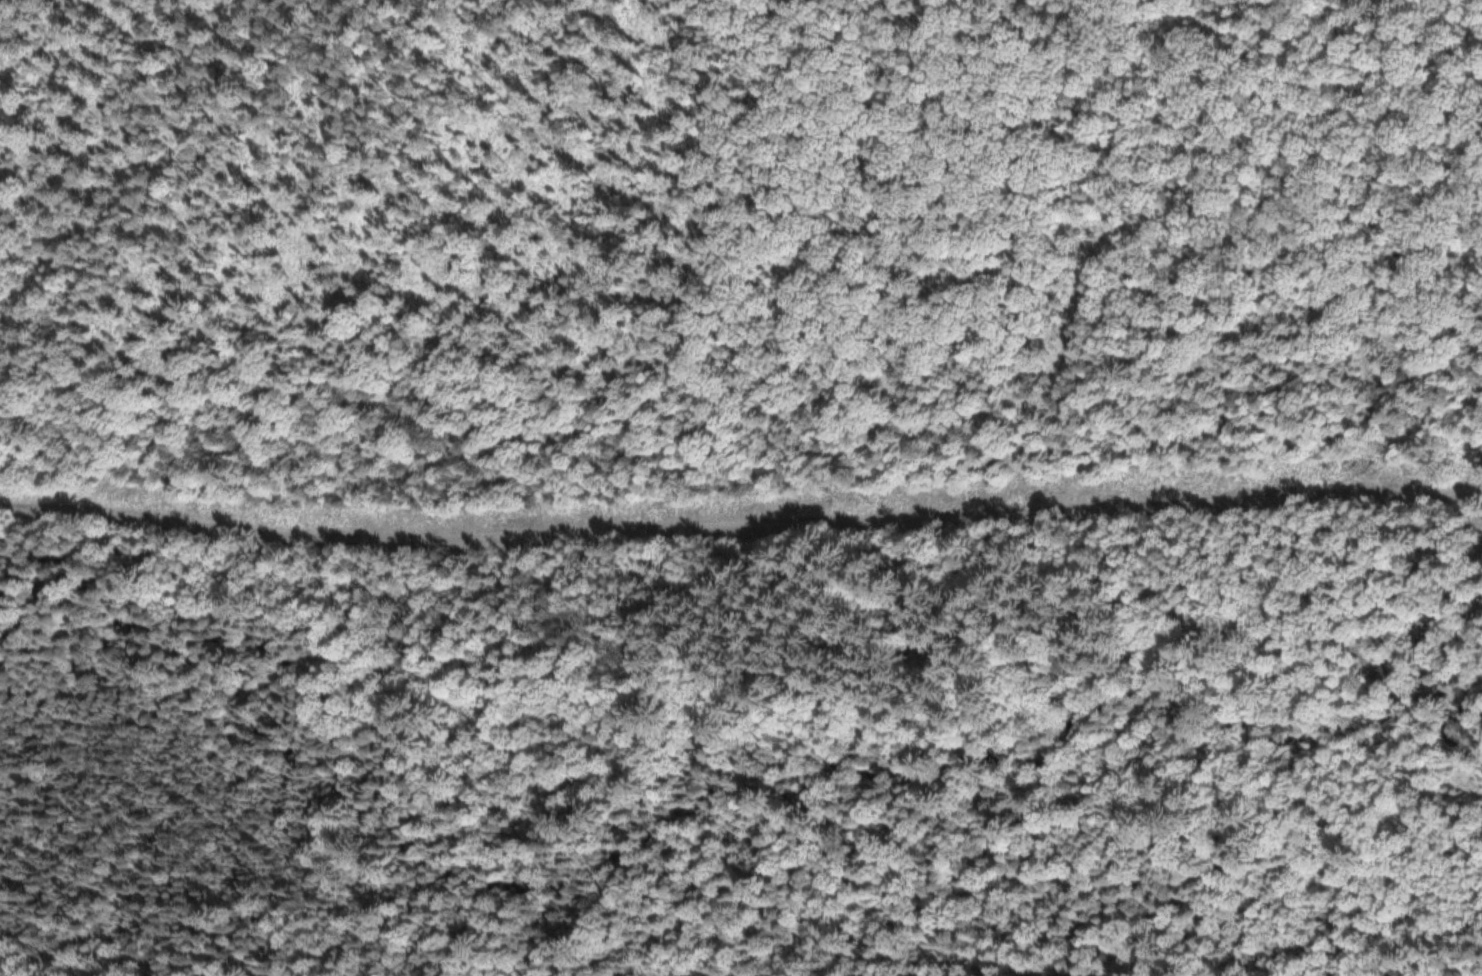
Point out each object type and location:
road: (740, 525)
road: (1400, 594)
road: (1286, 605)
building: (1406, 662)
road: (1250, 721)
road: (1308, 863)

